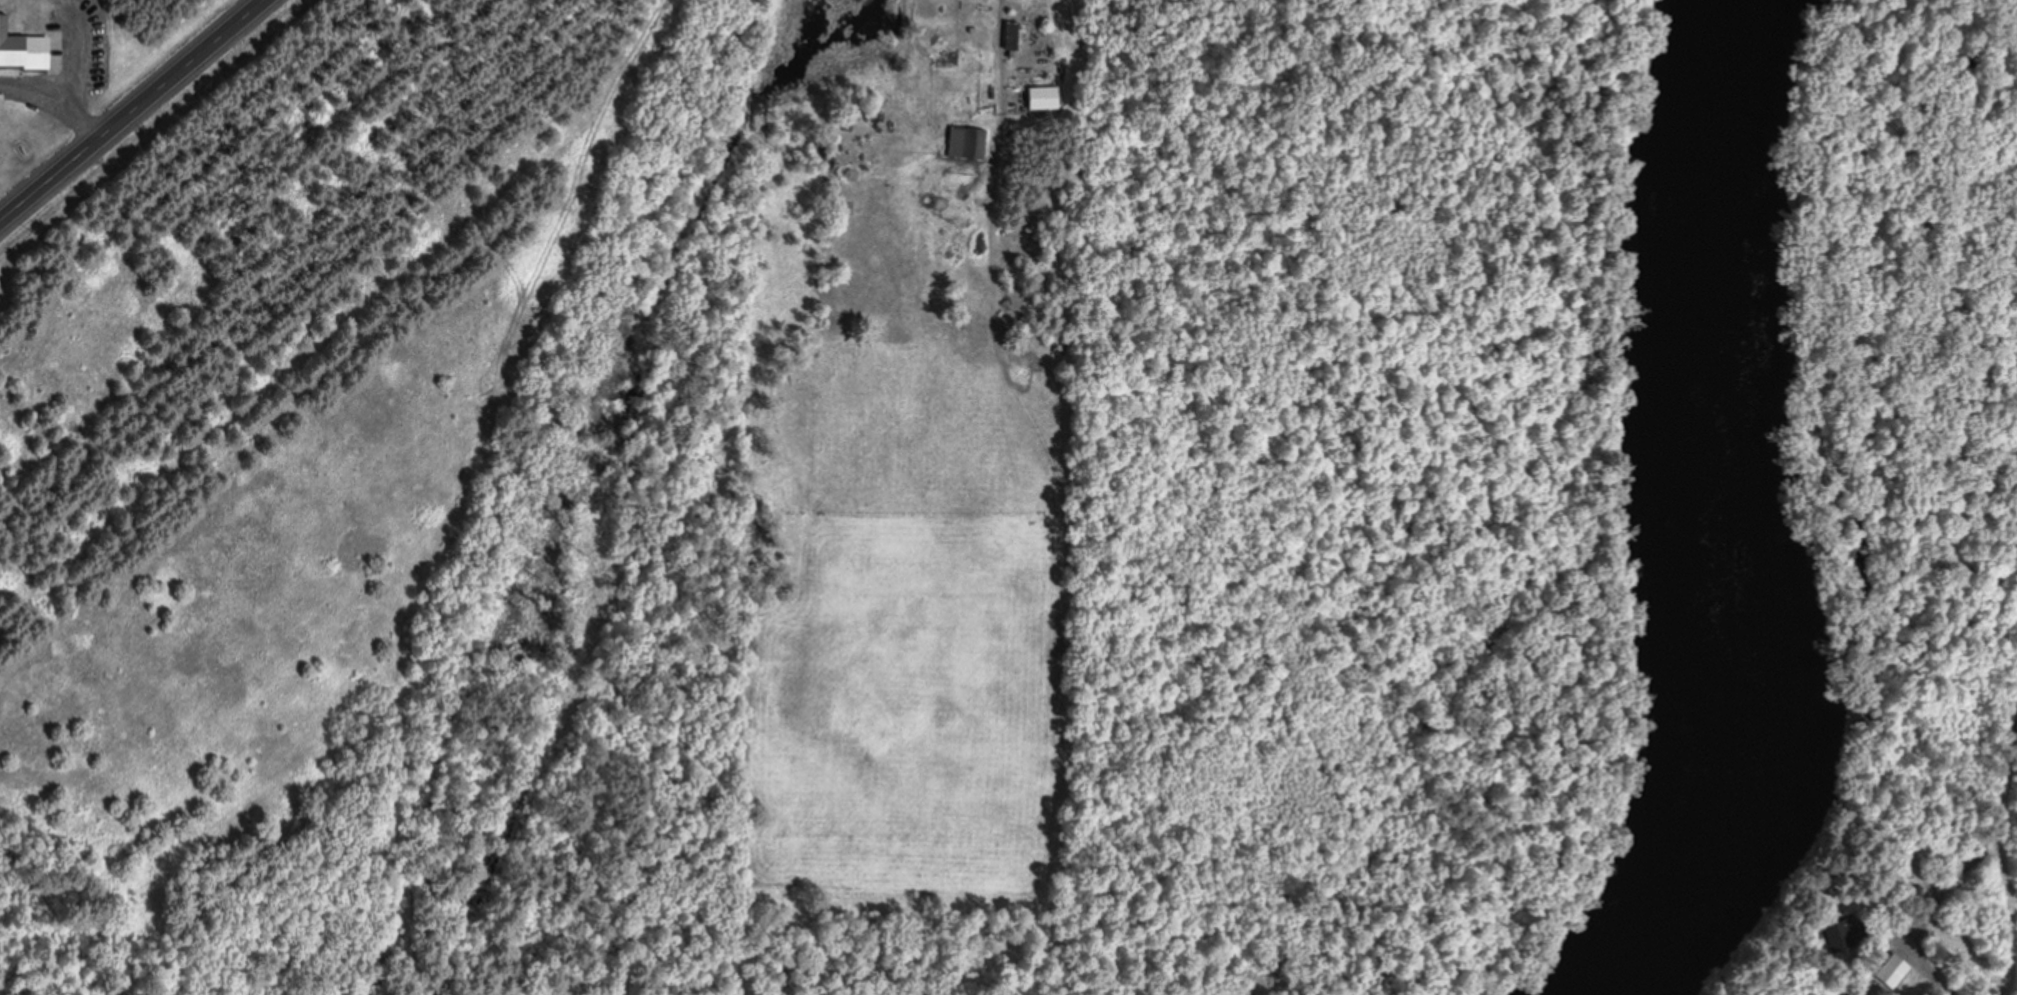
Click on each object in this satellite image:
building: (1014, 33)
building: (22, 50)
building: (961, 56)
road: (982, 71)
building: (1042, 94)
road: (135, 111)
building: (966, 141)
river: (1717, 516)
building: (1840, 934)
road: (1987, 963)
building: (1890, 970)

